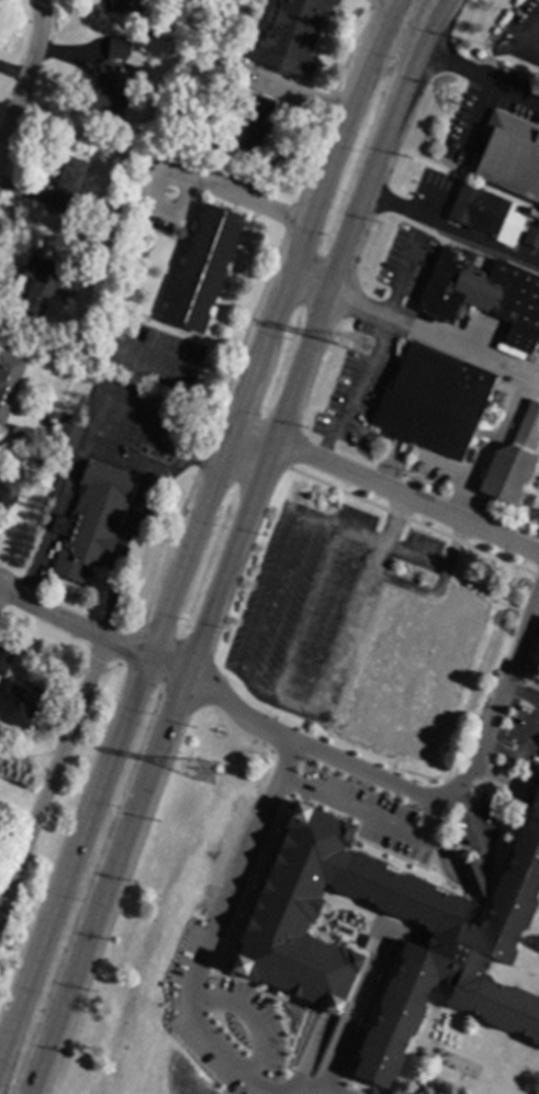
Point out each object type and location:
road: (381, 4)
building: (126, 5)
building: (147, 29)
building: (290, 37)
building: (116, 46)
road: (24, 70)
road: (481, 78)
building: (108, 91)
road: (295, 93)
building: (256, 123)
building: (211, 143)
building: (509, 155)
building: (67, 183)
road: (236, 199)
building: (110, 214)
building: (486, 214)
road: (452, 234)
building: (531, 235)
building: (202, 268)
building: (44, 286)
building: (481, 297)
road: (412, 324)
power tower: (364, 347)
road: (184, 369)
building: (9, 381)
road: (350, 386)
building: (434, 401)
building: (66, 438)
road: (82, 443)
road: (490, 446)
building: (38, 460)
building: (514, 460)
road: (122, 466)
road: (177, 467)
road: (383, 491)
building: (4, 501)
building: (91, 521)
road: (193, 522)
road: (390, 522)
road: (359, 537)
road: (234, 545)
road: (119, 552)
road: (436, 567)
road: (530, 598)
road: (305, 614)
road: (536, 617)
road: (345, 629)
road: (90, 635)
building: (5, 651)
building: (536, 671)
building: (414, 673)
road: (524, 694)
building: (20, 704)
road: (292, 705)
road: (523, 751)
power tower: (207, 773)
road: (50, 779)
road: (401, 791)
road: (420, 841)
road: (204, 940)
building: (446, 947)

